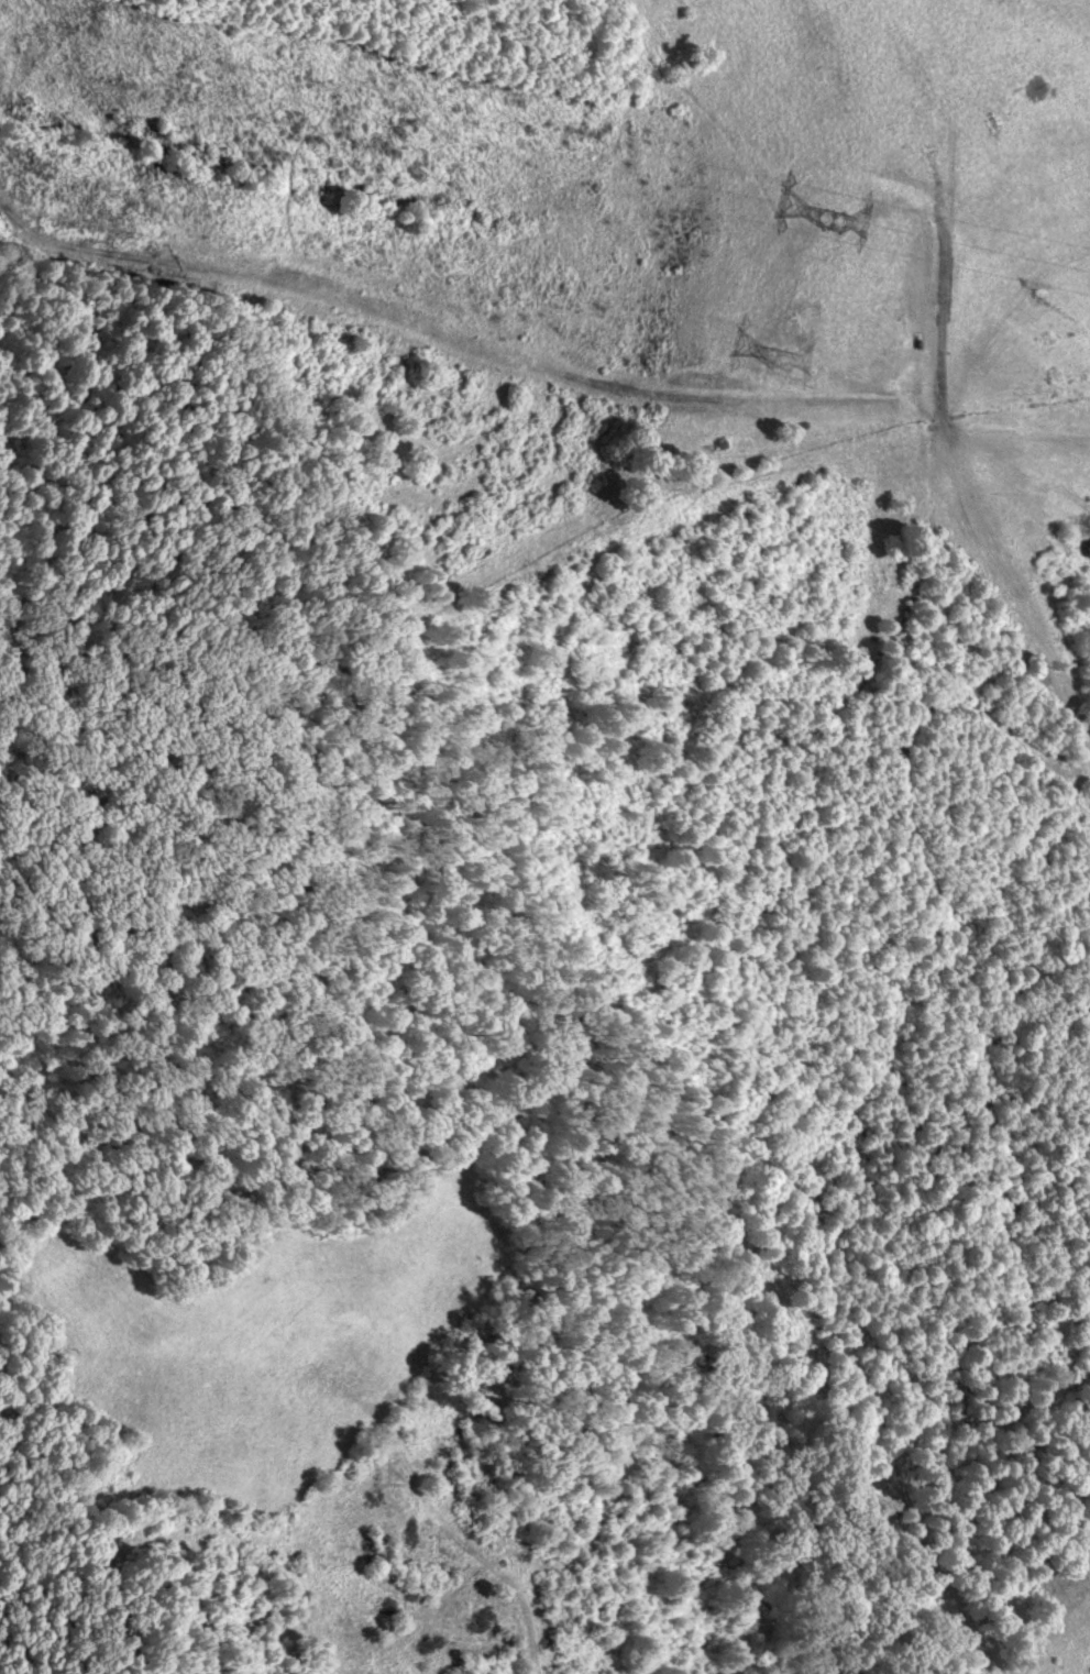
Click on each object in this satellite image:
power tower: (833, 220)
power tower: (784, 362)

